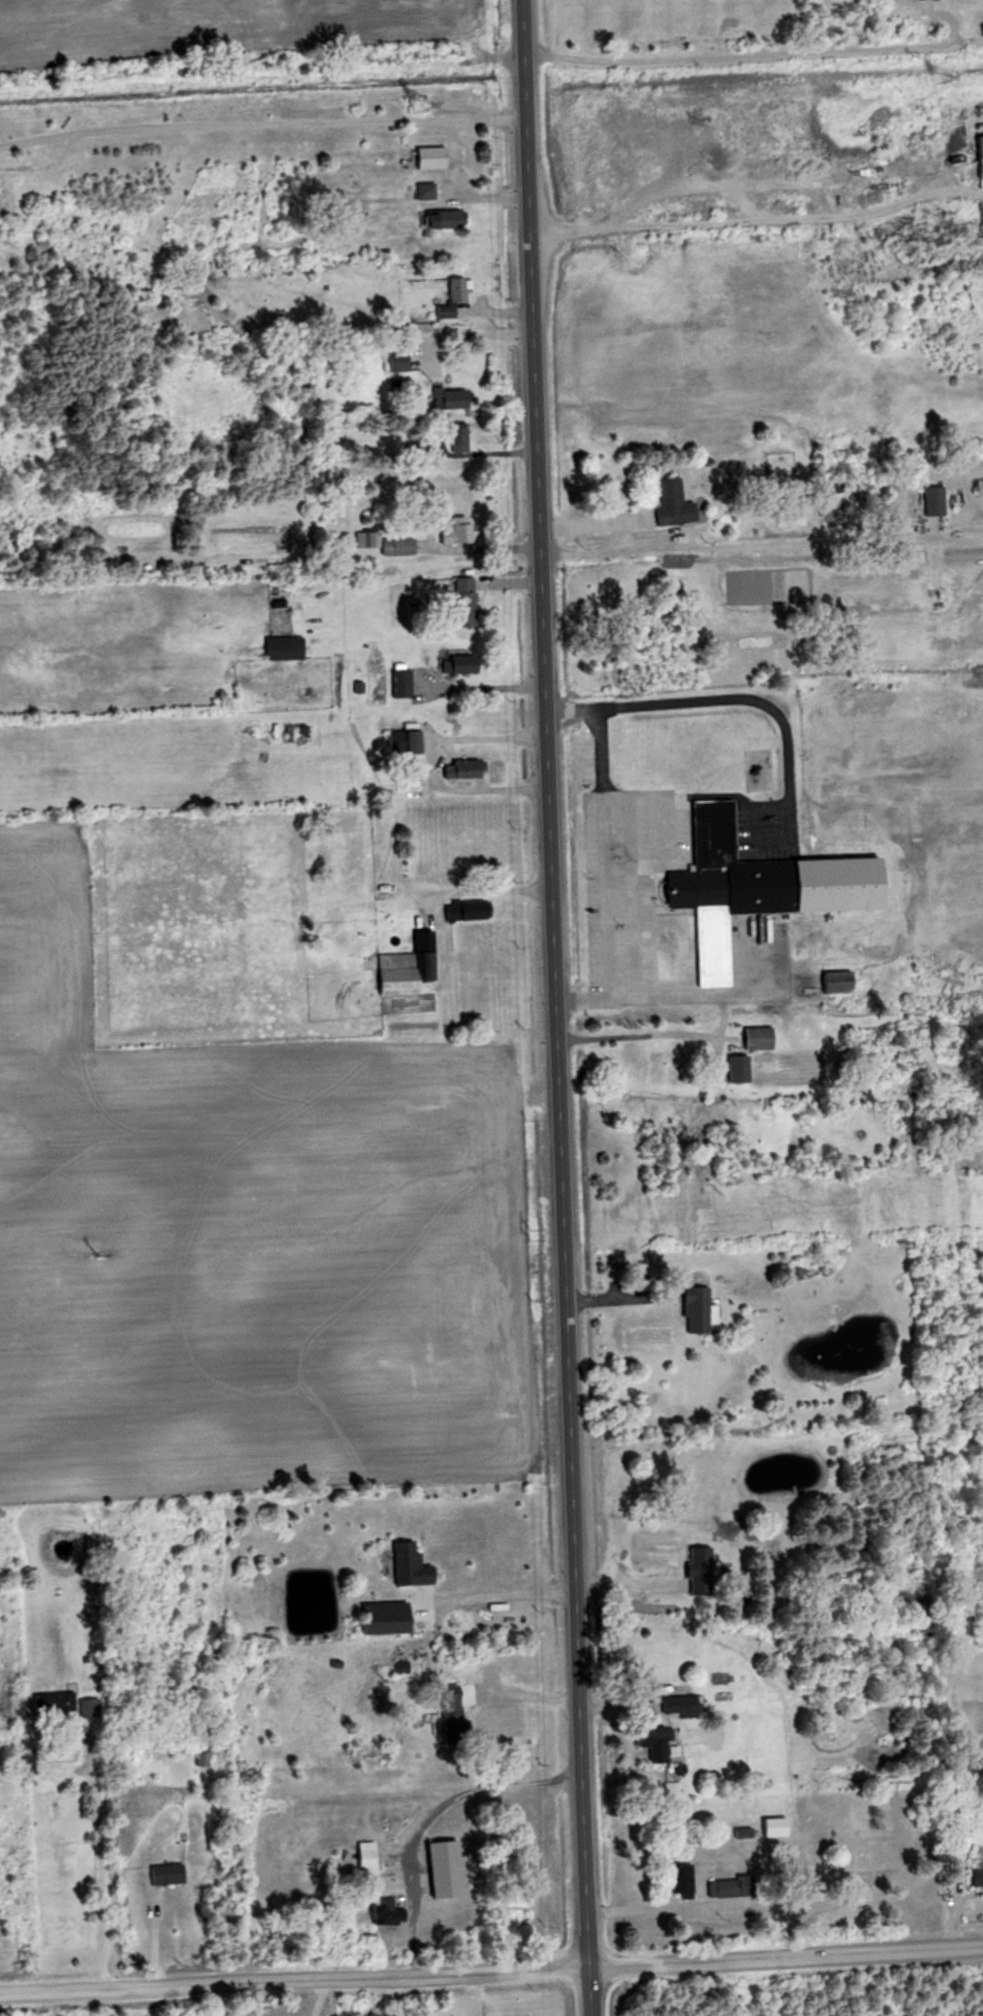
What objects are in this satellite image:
road: (762, 52)
power tower: (942, 76)
power tower: (418, 103)
road: (259, 128)
building: (435, 157)
building: (427, 191)
building: (449, 218)
road: (754, 219)
building: (455, 298)
road: (474, 338)
building: (400, 361)
building: (451, 398)
building: (679, 503)
building: (458, 532)
building: (388, 543)
road: (759, 544)
road: (477, 551)
building: (467, 591)
road: (760, 592)
building: (289, 648)
building: (463, 663)
building: (404, 684)
road: (476, 689)
road: (749, 702)
building: (407, 742)
road: (429, 760)
building: (467, 770)
road: (606, 861)
road: (482, 883)
parking lot: (627, 891)
building: (771, 902)
building: (471, 910)
building: (403, 974)
building: (840, 982)
road: (691, 997)
road: (551, 1008)
building: (752, 1038)
building: (940, 1050)
building: (730, 1069)
power tower: (532, 1237)
power tower: (101, 1259)
road: (615, 1297)
building: (688, 1310)
building: (415, 1566)
building: (693, 1571)
road: (625, 1582)
building: (391, 1618)
road: (426, 1641)
building: (57, 1704)
building: (674, 1705)
building: (456, 1726)
building: (646, 1736)
building: (203, 1759)
road: (420, 1818)
building: (956, 1822)
building: (769, 1826)
building: (371, 1859)
road: (100, 1862)
building: (450, 1870)
building: (169, 1875)
building: (973, 1877)
building: (676, 1881)
building: (726, 1887)
road: (662, 1908)
building: (389, 1912)
road: (491, 1979)

